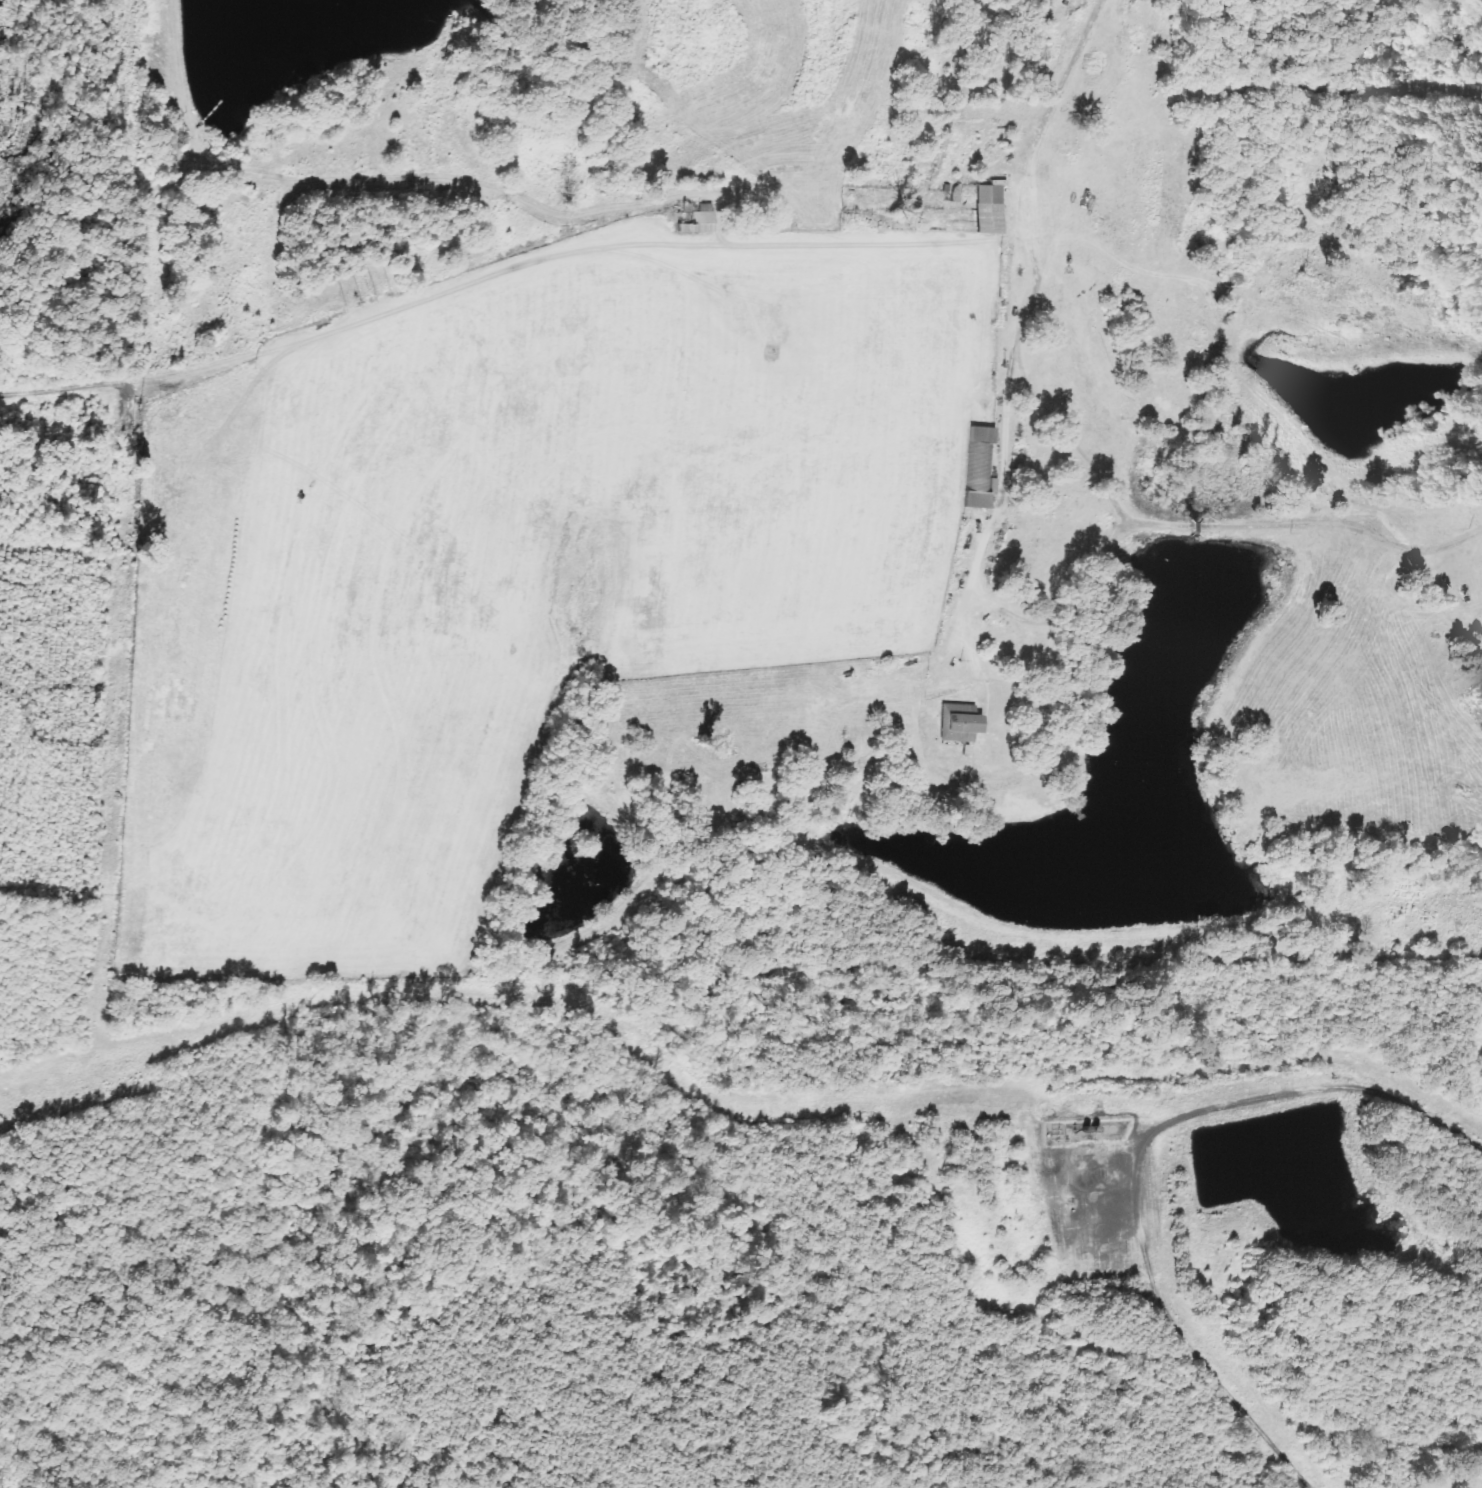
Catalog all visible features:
building: (988, 208)
building: (698, 220)
road: (1007, 405)
building: (980, 469)
road: (1204, 525)
building: (959, 727)

